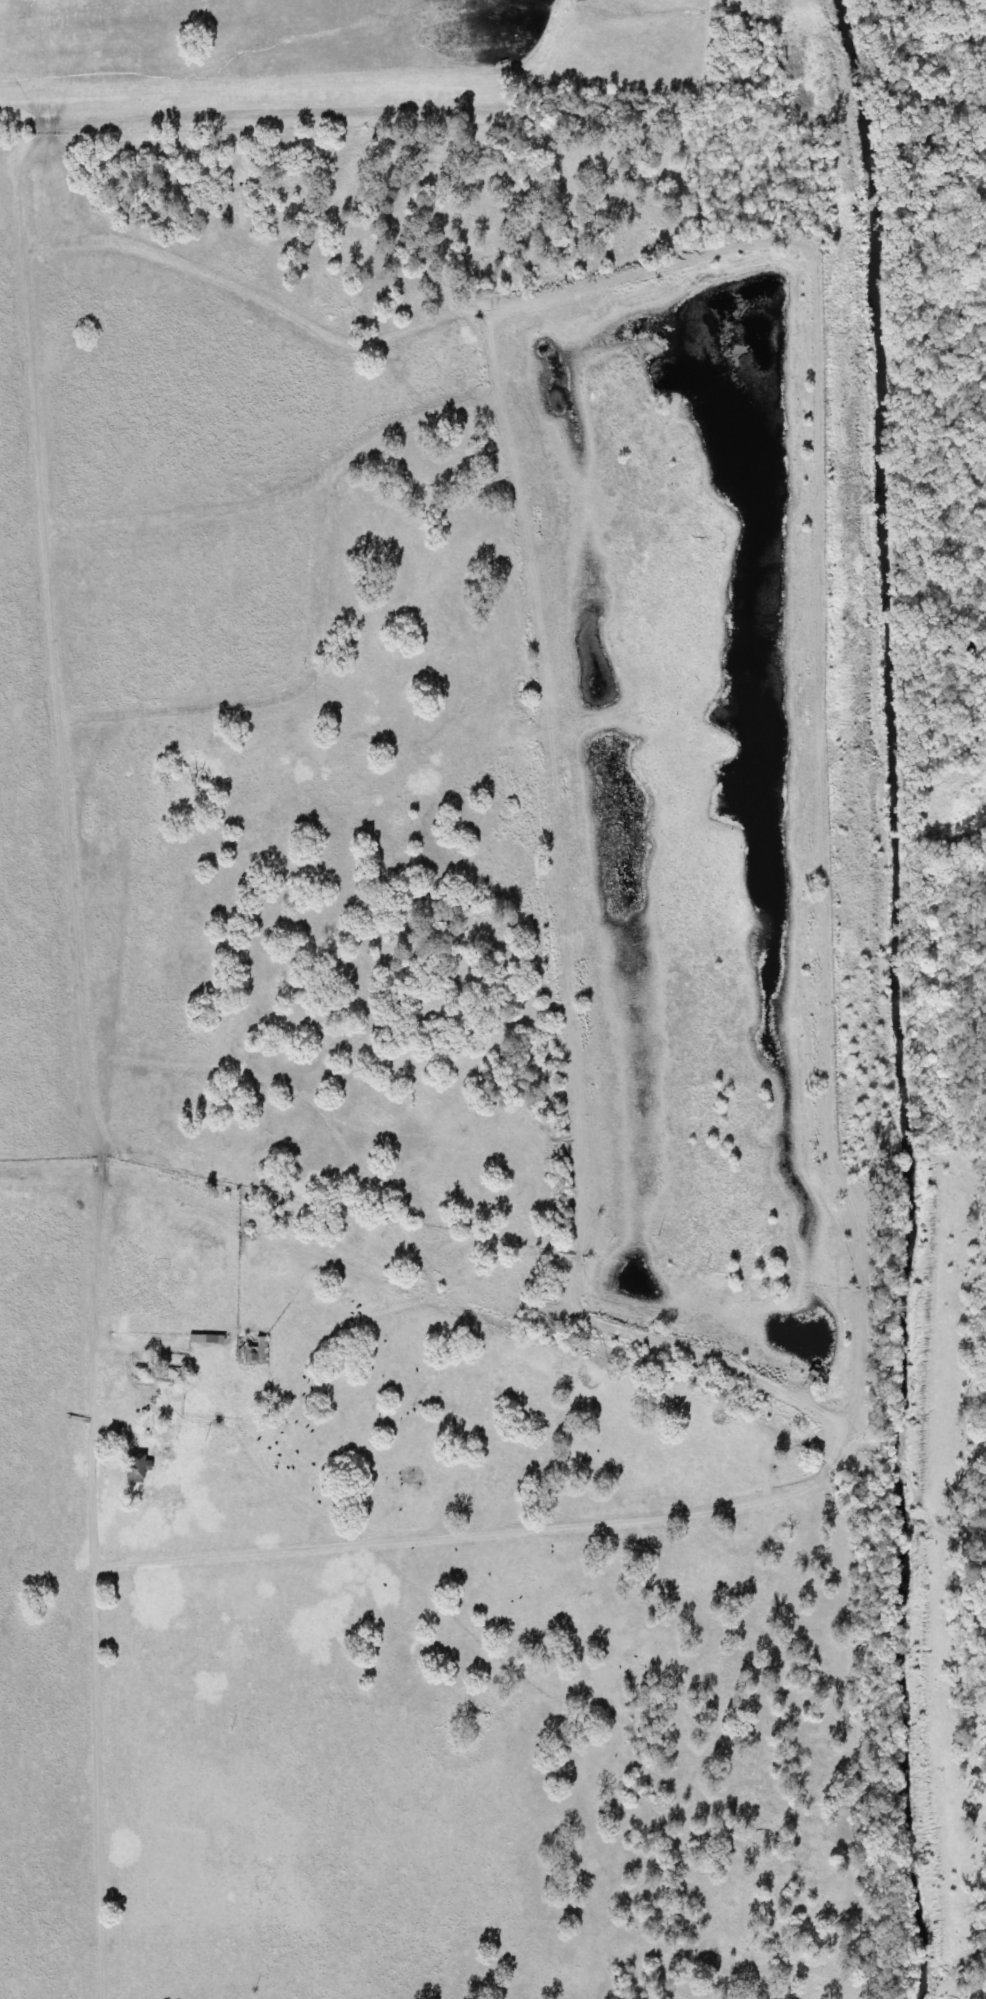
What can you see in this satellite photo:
building: (247, 1351)
road: (91, 1451)
building: (132, 1467)
road: (269, 1542)

